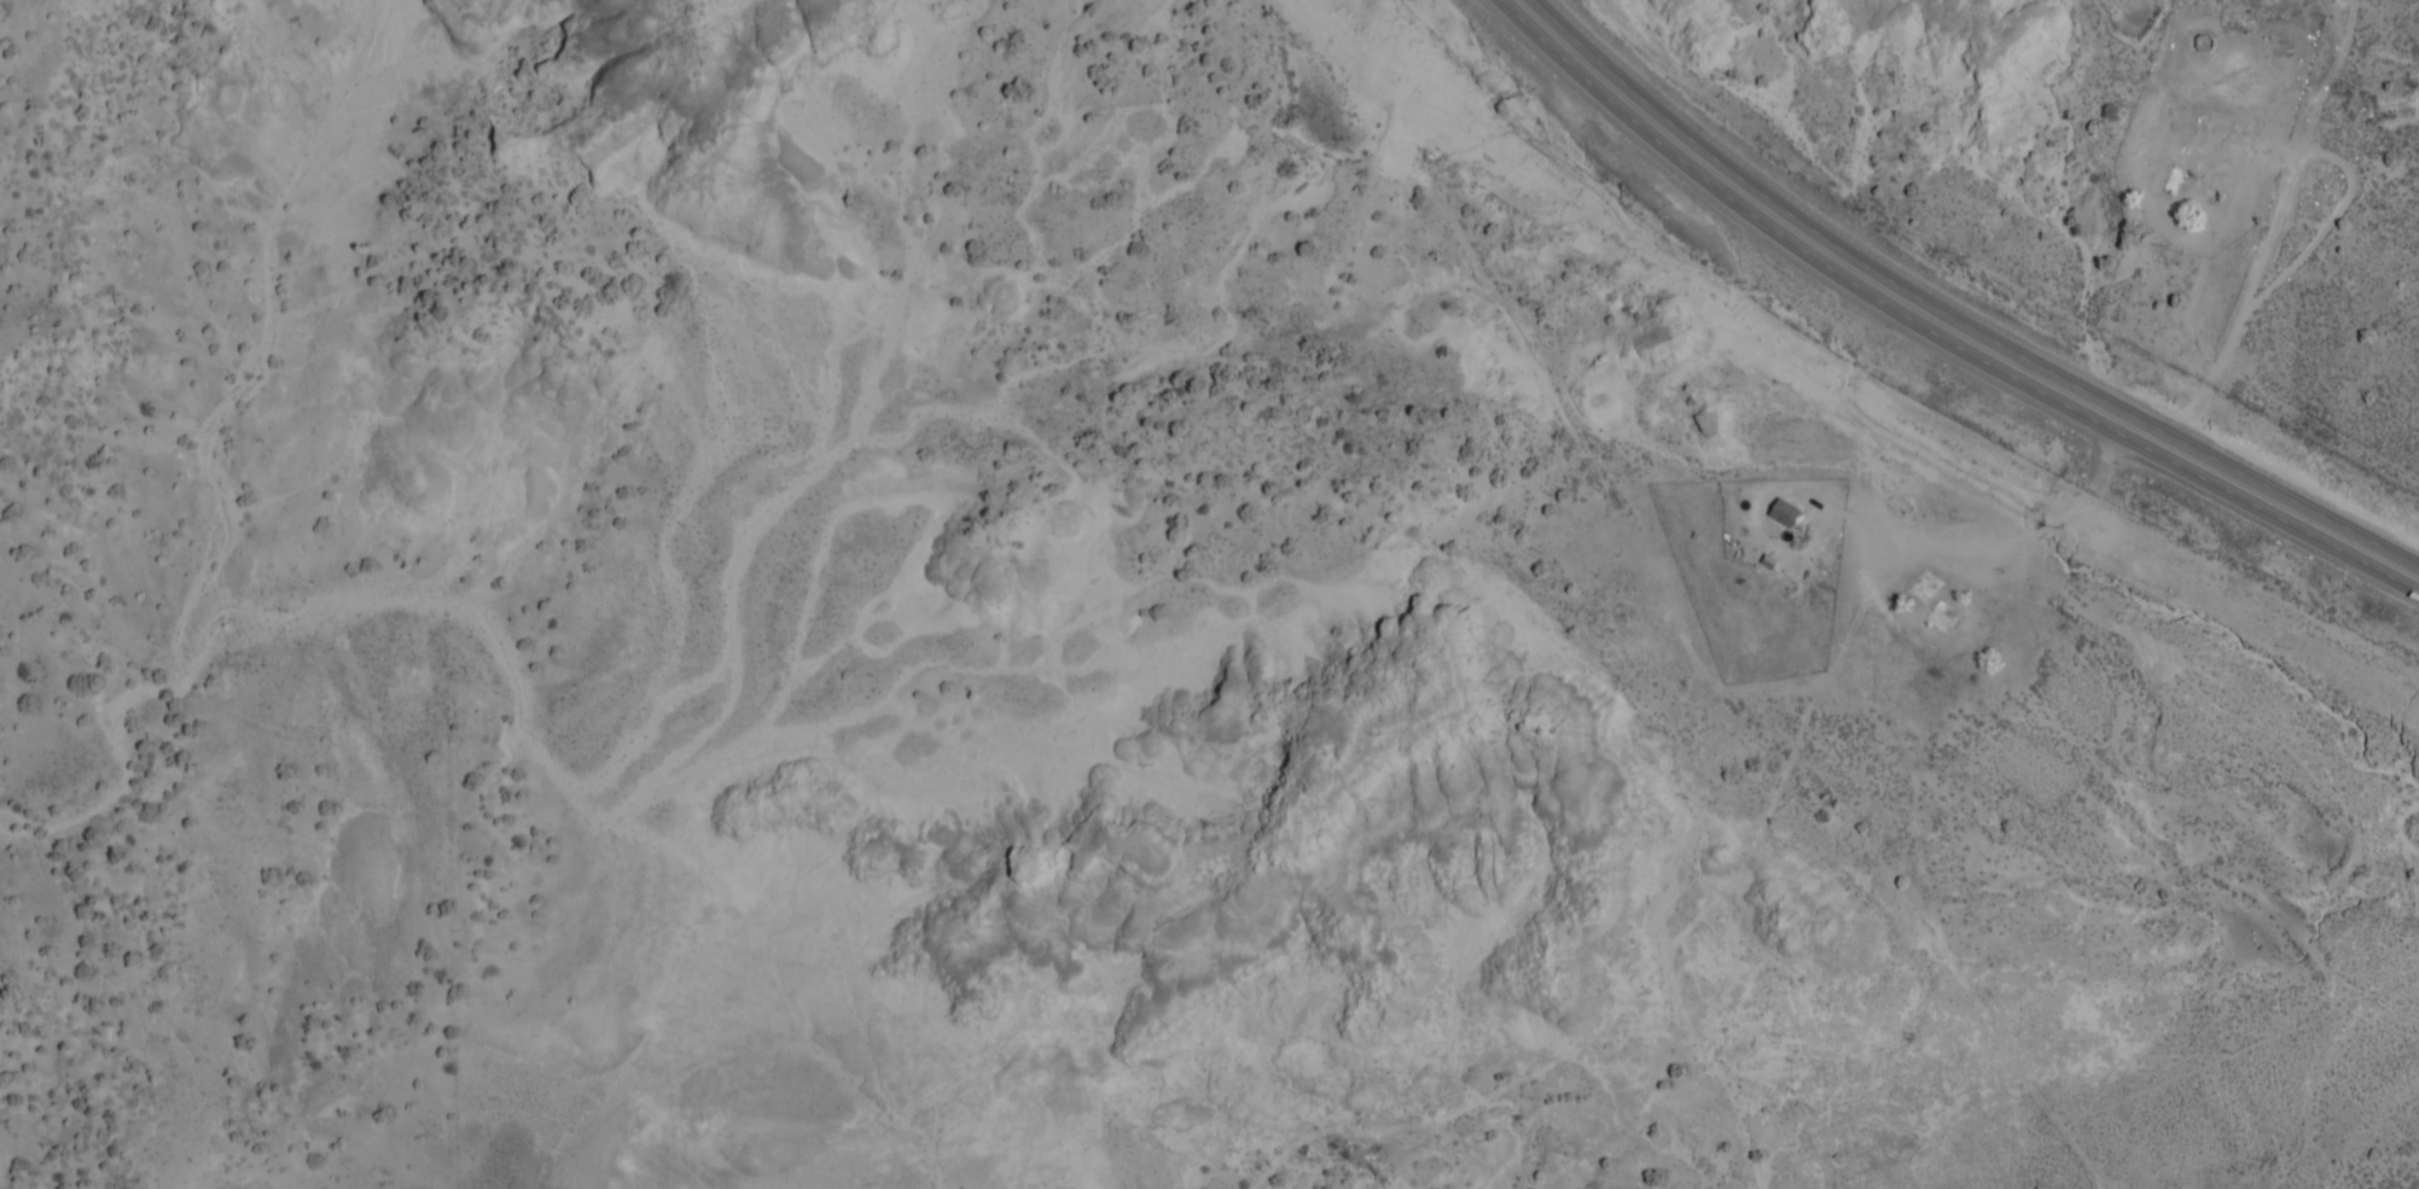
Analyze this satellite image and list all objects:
building: (2171, 181)
road: (2274, 229)
road: (1953, 315)
road: (1934, 332)
building: (1785, 514)
building: (1941, 617)

